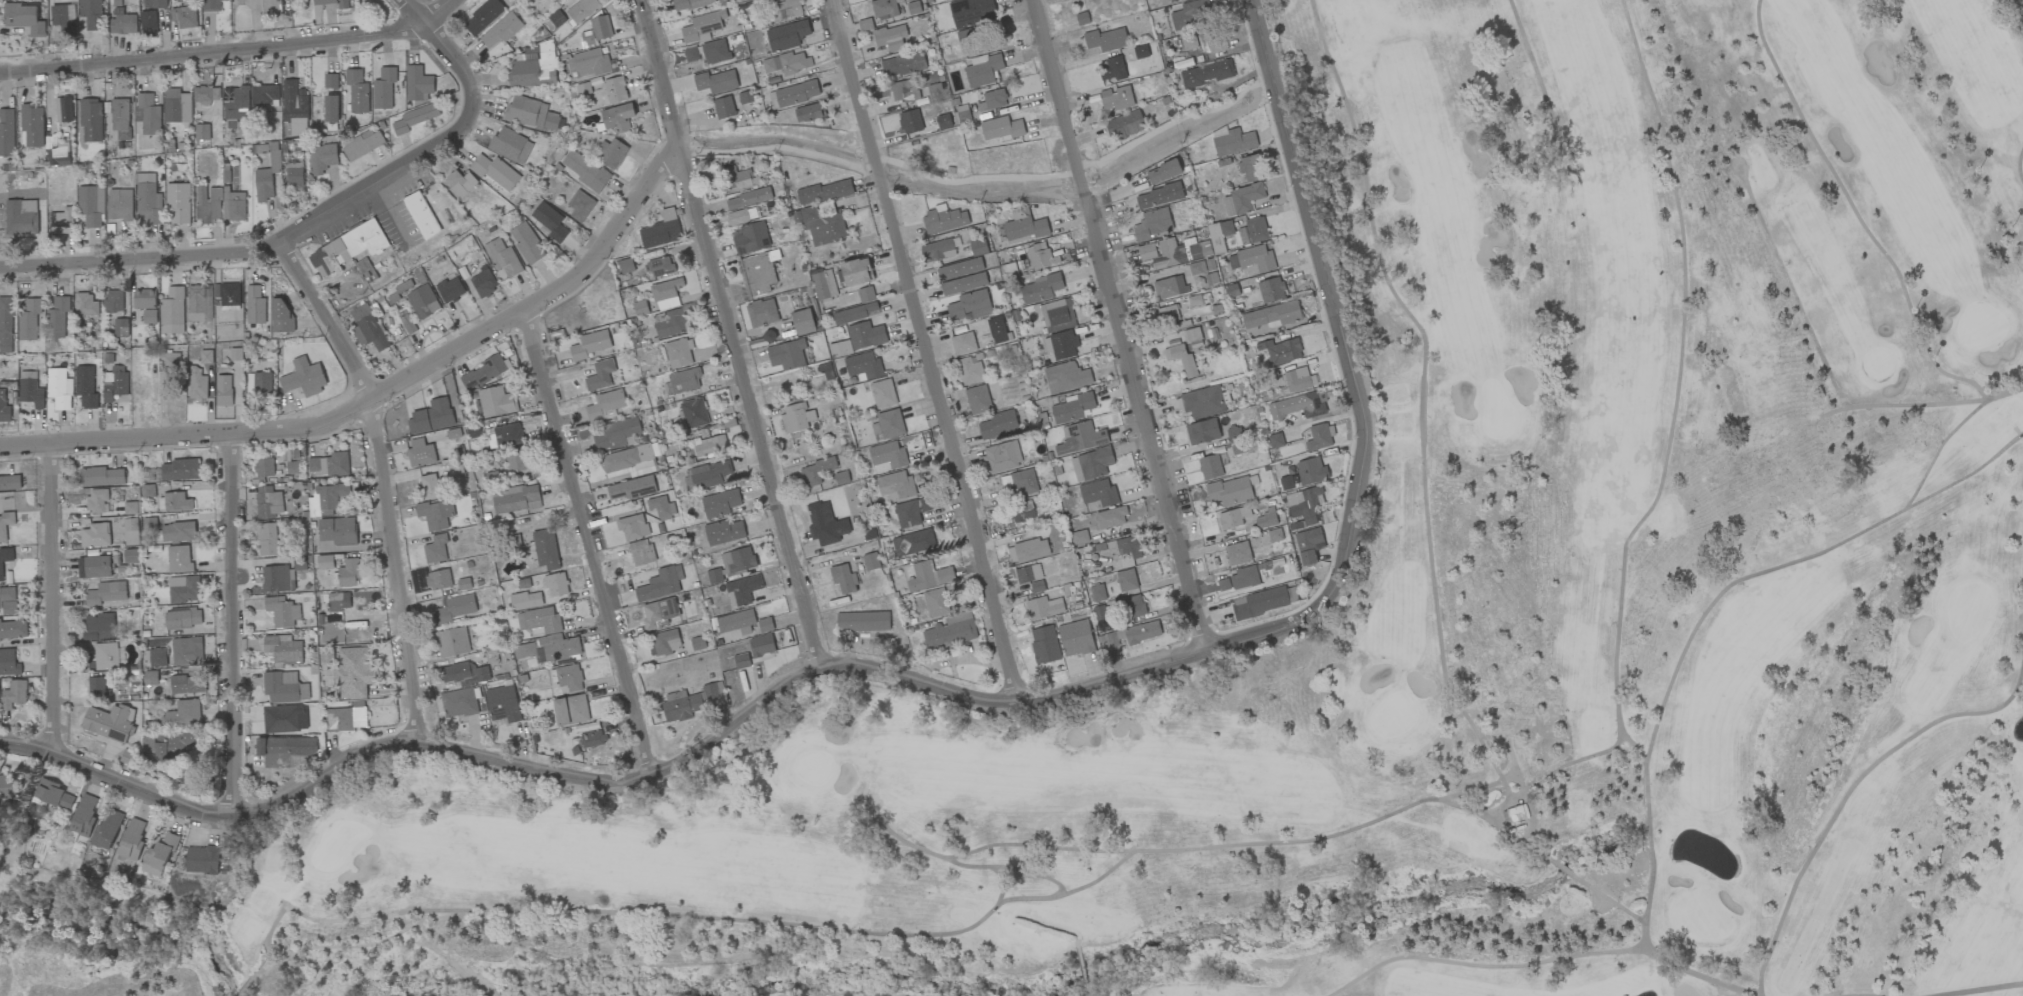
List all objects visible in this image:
building: (332, 3)
building: (154, 4)
building: (689, 4)
building: (211, 5)
building: (271, 6)
building: (786, 9)
building: (884, 9)
road: (416, 11)
building: (971, 12)
building: (574, 13)
building: (1191, 13)
building: (91, 14)
building: (184, 16)
building: (483, 16)
building: (24, 19)
building: (62, 22)
building: (123, 22)
building: (148, 23)
building: (865, 24)
building: (701, 28)
building: (501, 30)
building: (596, 31)
building: (967, 35)
building: (891, 37)
building: (1105, 40)
building: (1212, 41)
building: (1188, 42)
road: (231, 50)
building: (715, 51)
building: (691, 54)
building: (593, 63)
building: (787, 63)
building: (903, 65)
building: (532, 68)
building: (1111, 69)
building: (983, 70)
road: (659, 71)
building: (1207, 73)
building: (330, 81)
building: (716, 82)
building: (417, 83)
building: (384, 88)
building: (615, 90)
building: (357, 91)
building: (904, 91)
building: (797, 93)
building: (265, 94)
building: (204, 95)
building: (1115, 99)
building: (993, 100)
building: (235, 105)
building: (176, 106)
building: (295, 107)
building: (331, 108)
building: (723, 108)
building: (63, 109)
building: (526, 112)
building: (808, 113)
building: (148, 114)
building: (962, 114)
building: (618, 117)
building: (120, 118)
building: (414, 118)
building: (91, 120)
building: (910, 121)
building: (943, 121)
building: (553, 123)
building: (31, 125)
building: (1124, 125)
building: (1001, 128)
building: (201, 132)
building: (6, 133)
building: (1232, 141)
building: (362, 144)
building: (510, 146)
road: (780, 150)
building: (610, 153)
building: (56, 157)
building: (321, 158)
building: (1249, 168)
building: (586, 171)
building: (1163, 172)
building: (496, 173)
building: (294, 175)
building: (737, 179)
building: (264, 182)
building: (460, 182)
building: (824, 192)
building: (1159, 196)
building: (749, 198)
building: (147, 199)
building: (1242, 199)
building: (177, 203)
building: (119, 204)
building: (207, 204)
building: (90, 206)
building: (233, 206)
building: (580, 206)
building: (428, 211)
building: (741, 216)
building: (21, 217)
building: (61, 221)
building: (550, 221)
building: (944, 221)
building: (1153, 224)
building: (819, 226)
building: (661, 230)
building: (1025, 230)
building: (1237, 233)
building: (751, 238)
road: (306, 239)
building: (526, 243)
building: (978, 247)
building: (349, 248)
building: (938, 250)
building: (1162, 253)
building: (1040, 257)
building: (502, 258)
building: (1255, 259)
building: (626, 266)
building: (661, 267)
building: (1194, 268)
building: (959, 269)
building: (366, 270)
building: (759, 272)
building: (857, 272)
building: (483, 284)
building: (963, 284)
building: (823, 285)
building: (403, 286)
building: (1170, 287)
building: (450, 289)
building: (1041, 289)
building: (1270, 290)
building: (230, 294)
building: (666, 294)
building: (865, 295)
building: (113, 300)
building: (422, 301)
building: (199, 303)
building: (146, 304)
building: (86, 305)
building: (255, 305)
building: (970, 306)
building: (640, 308)
building: (172, 311)
building: (359, 312)
building: (762, 312)
building: (855, 313)
building: (1056, 313)
building: (1167, 314)
building: (281, 315)
building: (1272, 315)
building: (57, 317)
building: (28, 320)
building: (802, 321)
building: (670, 322)
building: (407, 324)
building: (6, 325)
building: (120, 328)
road: (1123, 329)
building: (997, 330)
building: (372, 332)
building: (1193, 338)
building: (859, 339)
building: (963, 343)
building: (1063, 344)
building: (591, 345)
road: (928, 350)
building: (1280, 351)
building: (679, 353)
building: (787, 354)
building: (206, 357)
building: (1180, 357)
building: (171, 359)
building: (863, 365)
building: (970, 371)
building: (484, 372)
building: (600, 375)
building: (303, 377)
building: (1066, 377)
building: (1299, 379)
building: (684, 380)
building: (115, 383)
building: (197, 383)
building: (260, 383)
building: (85, 387)
building: (59, 388)
building: (30, 390)
building: (223, 390)
building: (883, 394)
road: (388, 398)
building: (977, 399)
building: (496, 402)
building: (1203, 402)
building: (605, 404)
road: (753, 404)
building: (1296, 406)
building: (1072, 407)
building: (4, 408)
building: (691, 414)
building: (431, 416)
building: (794, 417)
building: (888, 424)
building: (998, 424)
building: (1202, 432)
building: (616, 434)
building: (506, 436)
building: (1080, 438)
building: (1318, 438)
building: (710, 445)
building: (420, 453)
building: (887, 457)
building: (1000, 457)
building: (625, 458)
building: (518, 461)
building: (1091, 464)
building: (328, 465)
building: (264, 467)
building: (1210, 467)
building: (292, 468)
building: (180, 470)
building: (1311, 471)
building: (816, 472)
building: (709, 474)
building: (101, 477)
building: (841, 477)
road: (389, 480)
building: (1019, 482)
building: (10, 483)
building: (895, 485)
building: (430, 487)
building: (632, 488)
building: (1230, 491)
building: (1098, 495)
building: (326, 498)
building: (516, 499)
building: (97, 500)
building: (177, 502)
building: (268, 503)
building: (720, 503)
building: (1304, 504)
building: (661, 507)
building: (131, 508)
building: (912, 511)
building: (1021, 512)
building: (435, 514)
building: (1111, 518)
building: (1233, 518)
building: (1265, 519)
building: (5, 526)
building: (825, 526)
building: (632, 527)
building: (131, 531)
building: (178, 531)
building: (338, 531)
building: (723, 532)
building: (96, 535)
building: (267, 539)
building: (913, 542)
building: (1308, 545)
building: (1124, 548)
building: (435, 549)
building: (545, 549)
road: (593, 550)
building: (1028, 550)
building: (642, 553)
building: (1237, 553)
building: (131, 556)
building: (178, 559)
building: (5, 560)
building: (737, 560)
building: (870, 561)
building: (325, 562)
building: (97, 567)
building: (348, 573)
building: (1027, 574)
building: (929, 576)
building: (275, 578)
building: (438, 579)
building: (843, 579)
building: (1239, 579)
building: (1126, 580)
building: (463, 584)
building: (556, 584)
building: (661, 584)
building: (1037, 586)
building: (183, 589)
building: (742, 590)
building: (106, 593)
building: (1097, 593)
road: (53, 597)
building: (525, 600)
building: (7, 601)
building: (335, 602)
building: (935, 602)
building: (1259, 603)
building: (1134, 606)
building: (1044, 607)
building: (455, 609)
building: (282, 611)
building: (659, 612)
park: (1390, 613)
building: (182, 618)
building: (520, 621)
building: (542, 621)
building: (862, 621)
building: (736, 622)
building: (765, 625)
building: (99, 627)
road: (236, 627)
building: (13, 629)
building: (950, 632)
building: (1133, 634)
building: (1075, 638)
building: (452, 642)
building: (663, 642)
building: (697, 643)
building: (761, 645)
building: (1044, 645)
building: (283, 648)
building: (548, 649)
building: (186, 650)
building: (107, 656)
building: (157, 656)
building: (741, 661)
building: (8, 663)
building: (354, 672)
building: (464, 673)
building: (569, 677)
building: (150, 678)
building: (184, 684)
building: (97, 687)
building: (284, 687)
road: (944, 687)
building: (14, 694)
building: (688, 702)
building: (458, 703)
building: (503, 704)
building: (570, 709)
building: (184, 713)
building: (284, 719)
building: (345, 719)
building: (108, 723)
building: (592, 738)
building: (169, 745)
building: (286, 751)
building: (7, 786)
building: (52, 794)
building: (1513, 814)
building: (84, 815)
building: (107, 829)
building: (132, 838)
building: (162, 852)
building: (202, 859)
building: (151, 871)

